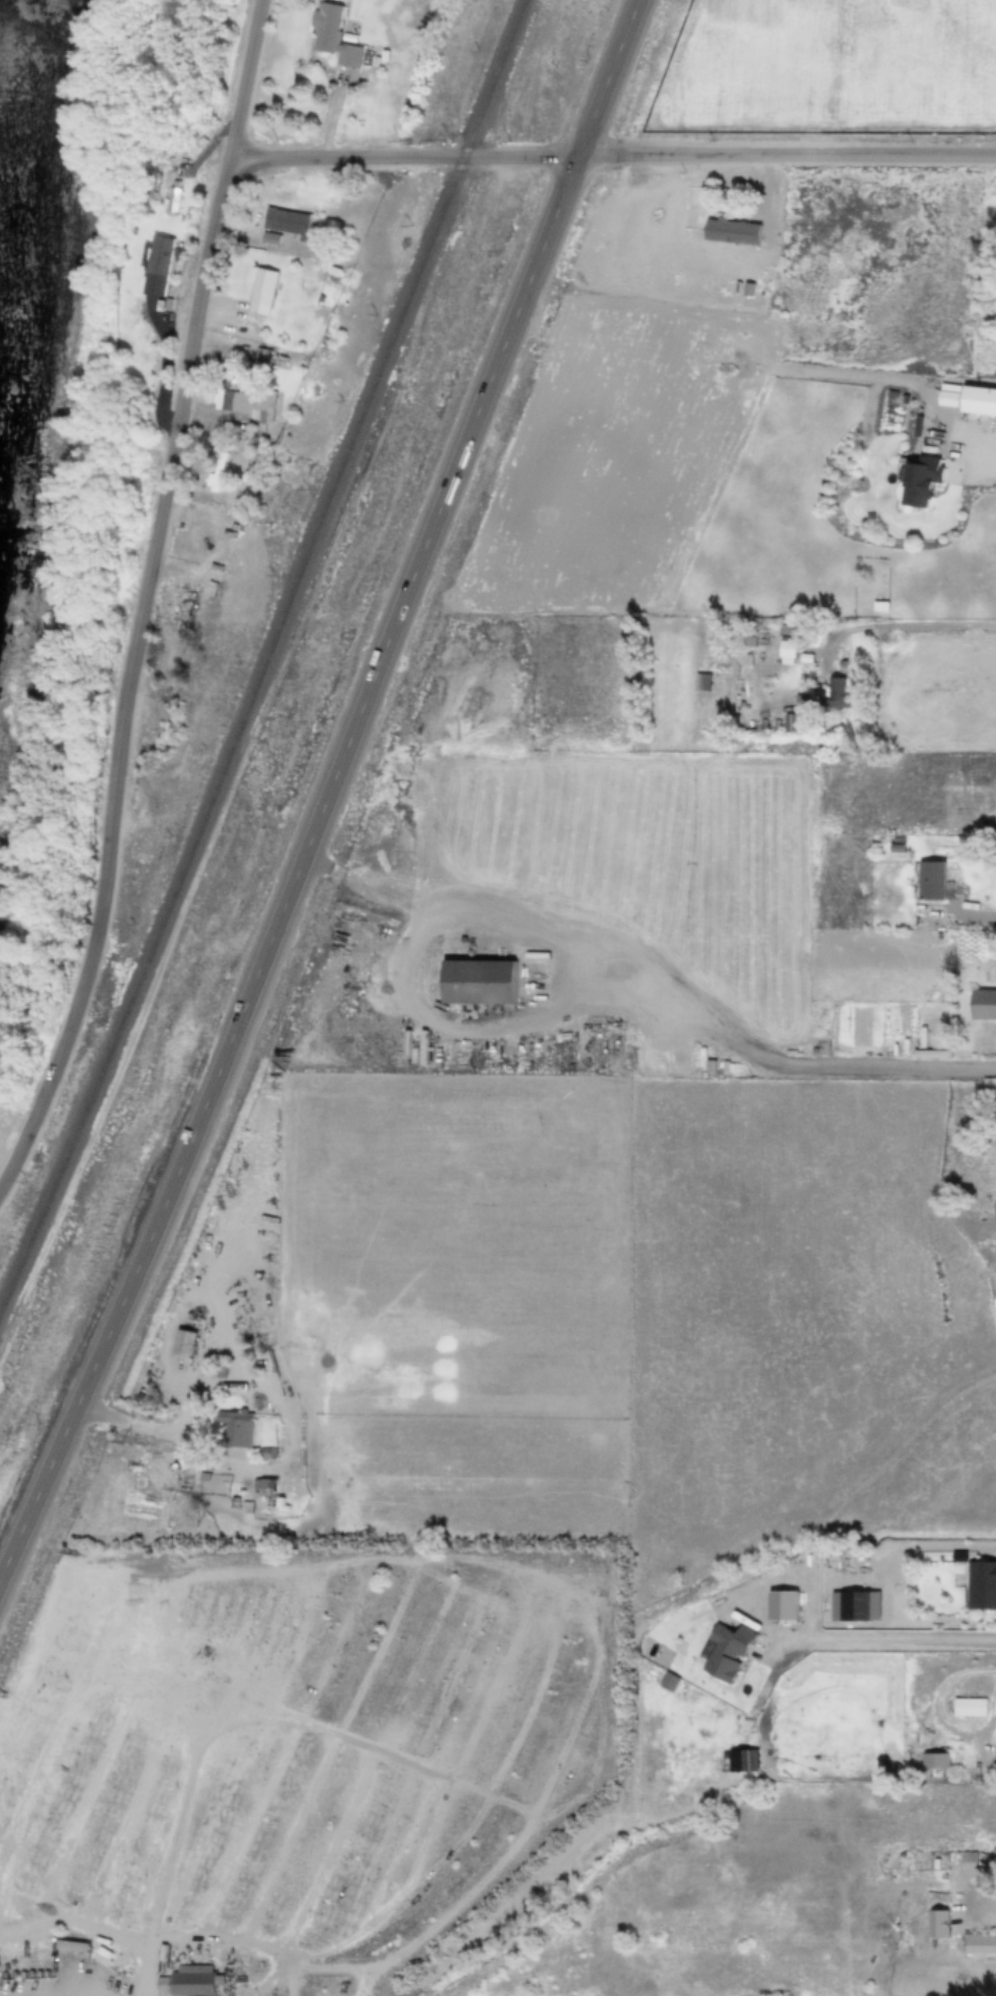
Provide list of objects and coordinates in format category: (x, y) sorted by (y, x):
building: (337, 35)
road: (614, 155)
building: (174, 199)
building: (289, 222)
building: (731, 230)
building: (160, 265)
building: (266, 292)
building: (265, 357)
building: (969, 398)
building: (254, 407)
road: (985, 453)
building: (219, 472)
building: (918, 479)
road: (149, 600)
building: (185, 612)
road: (924, 630)
building: (786, 646)
railway: (266, 655)
building: (701, 680)
building: (837, 692)
building: (789, 721)
road: (327, 789)
building: (928, 879)
road: (984, 918)
building: (476, 981)
building: (990, 1005)
road: (784, 1069)
building: (995, 1211)
building: (183, 1342)
building: (218, 1368)
road: (137, 1425)
building: (235, 1427)
building: (264, 1487)
building: (22, 1508)
road: (899, 1546)
road: (909, 1638)
building: (969, 1707)
road: (939, 1711)
building: (935, 1760)
road: (979, 1896)
building: (938, 1924)
building: (980, 1943)
building: (95, 1979)
building: (190, 1981)

